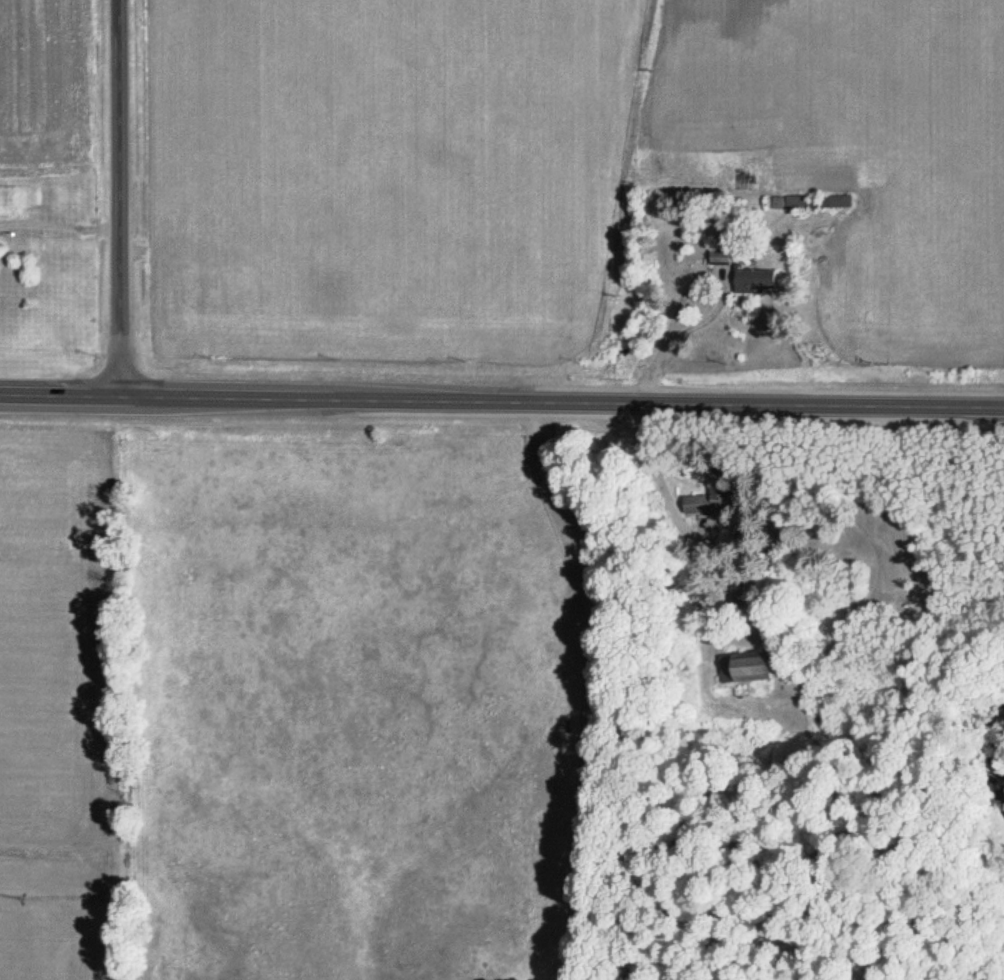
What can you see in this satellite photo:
road: (121, 198)
building: (791, 202)
building: (842, 202)
building: (723, 255)
building: (757, 276)
road: (501, 401)
building: (720, 491)
building: (780, 545)
building: (752, 667)

